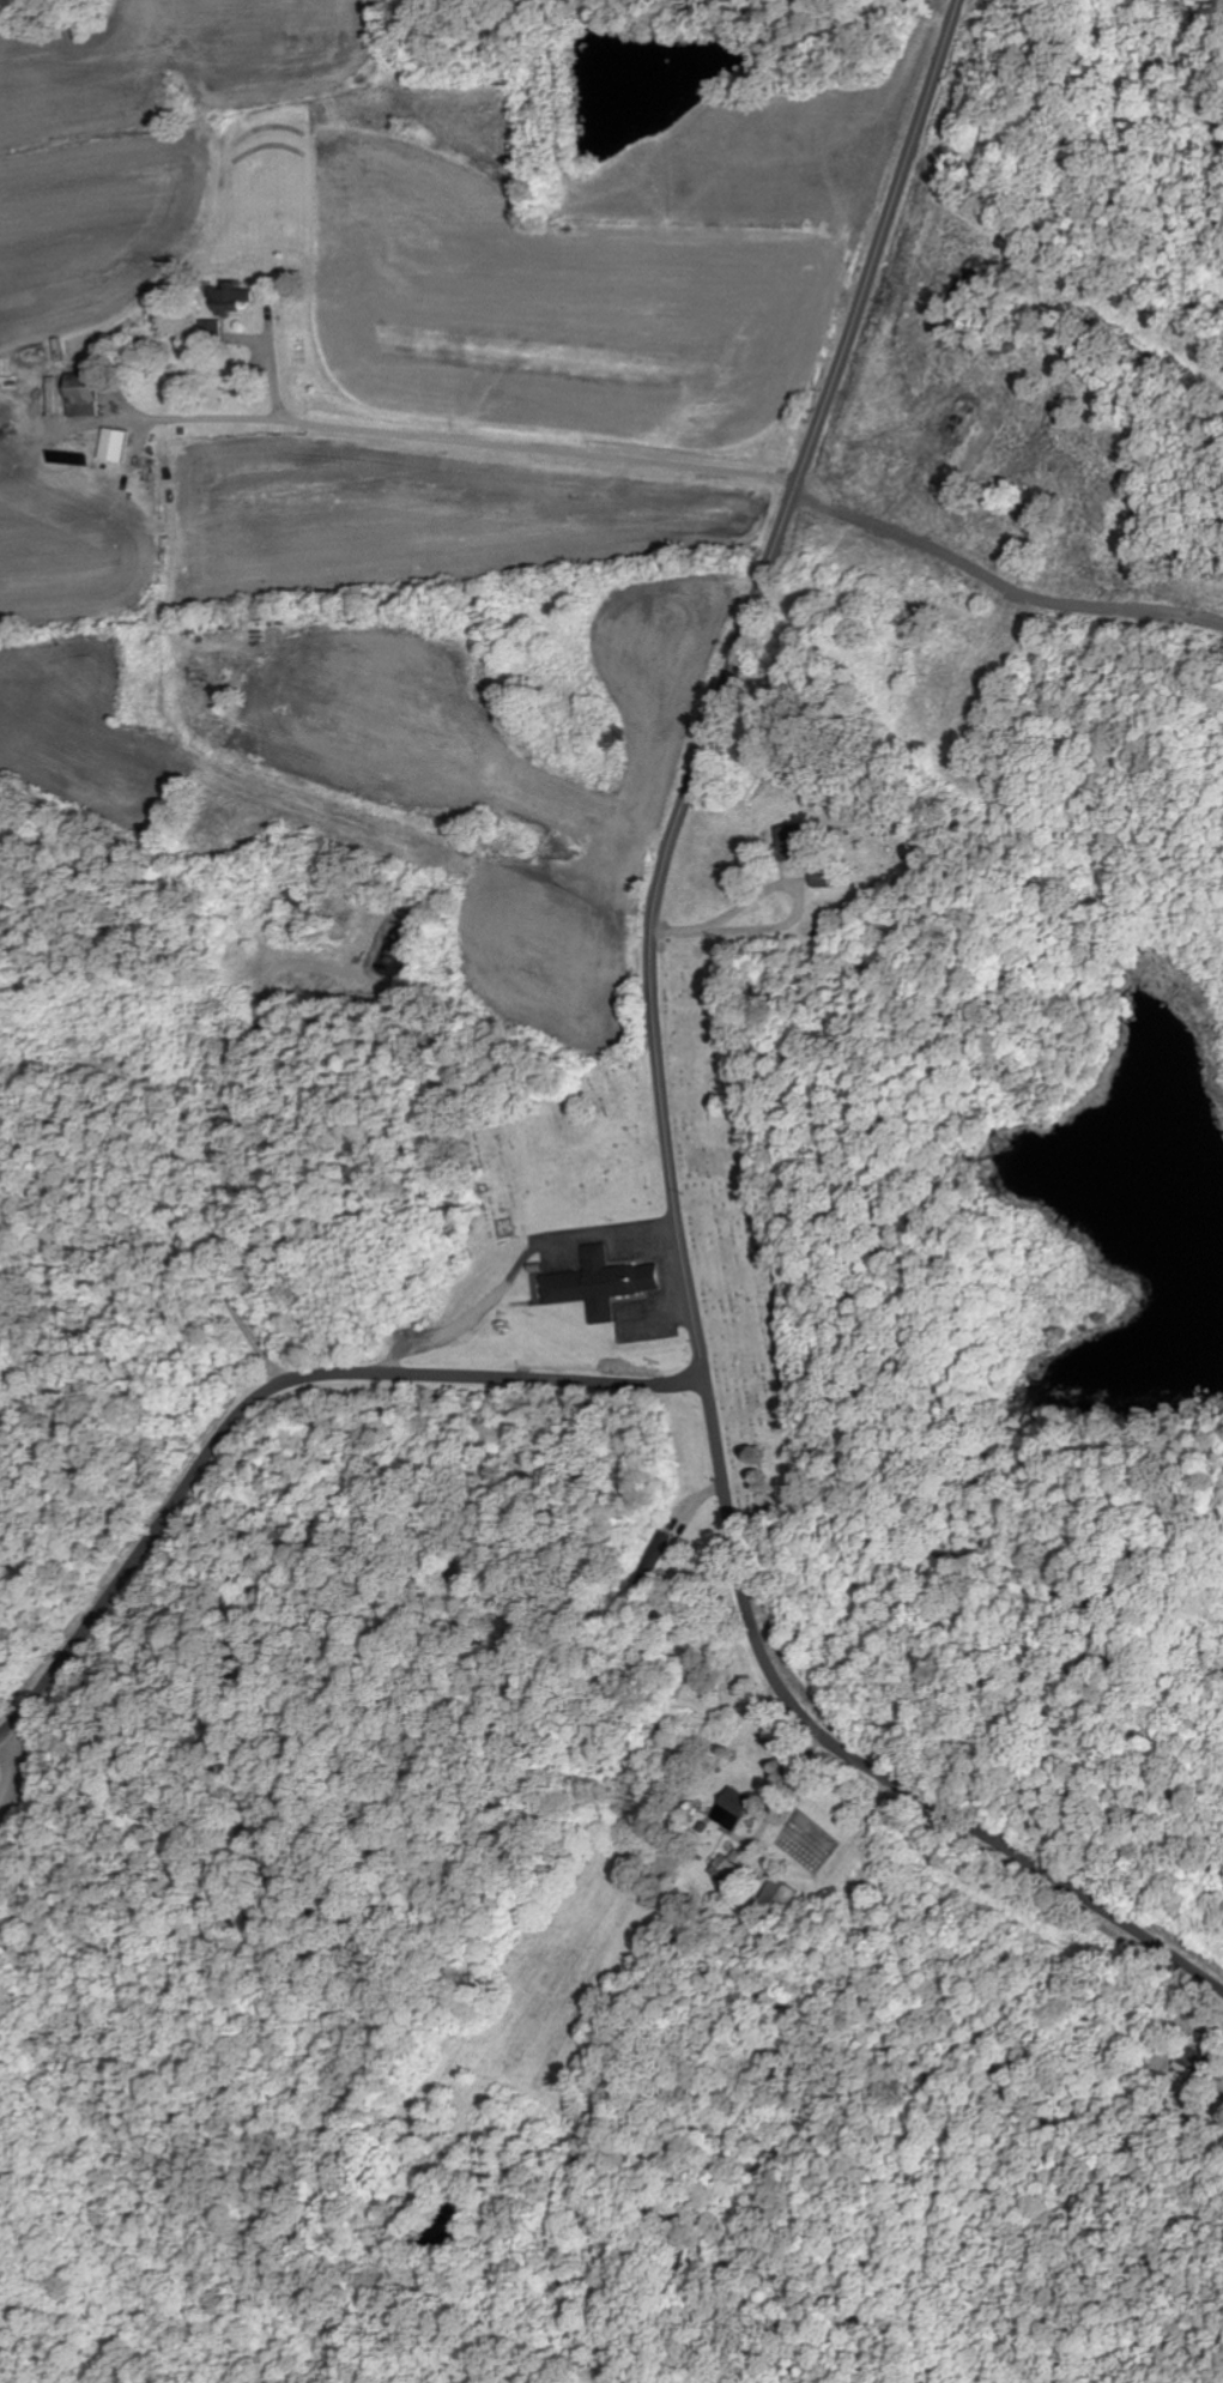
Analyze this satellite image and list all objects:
building: (232, 298)
building: (86, 401)
road: (464, 441)
building: (116, 444)
road: (726, 678)
building: (794, 843)
road: (794, 923)
park: (558, 1149)
park: (744, 1241)
road: (519, 1269)
building: (604, 1284)
road: (270, 1393)
road: (765, 1736)
road: (859, 1764)
road: (14, 1771)
road: (788, 1792)
building: (735, 1808)
building: (728, 1868)
building: (1192, 2067)

